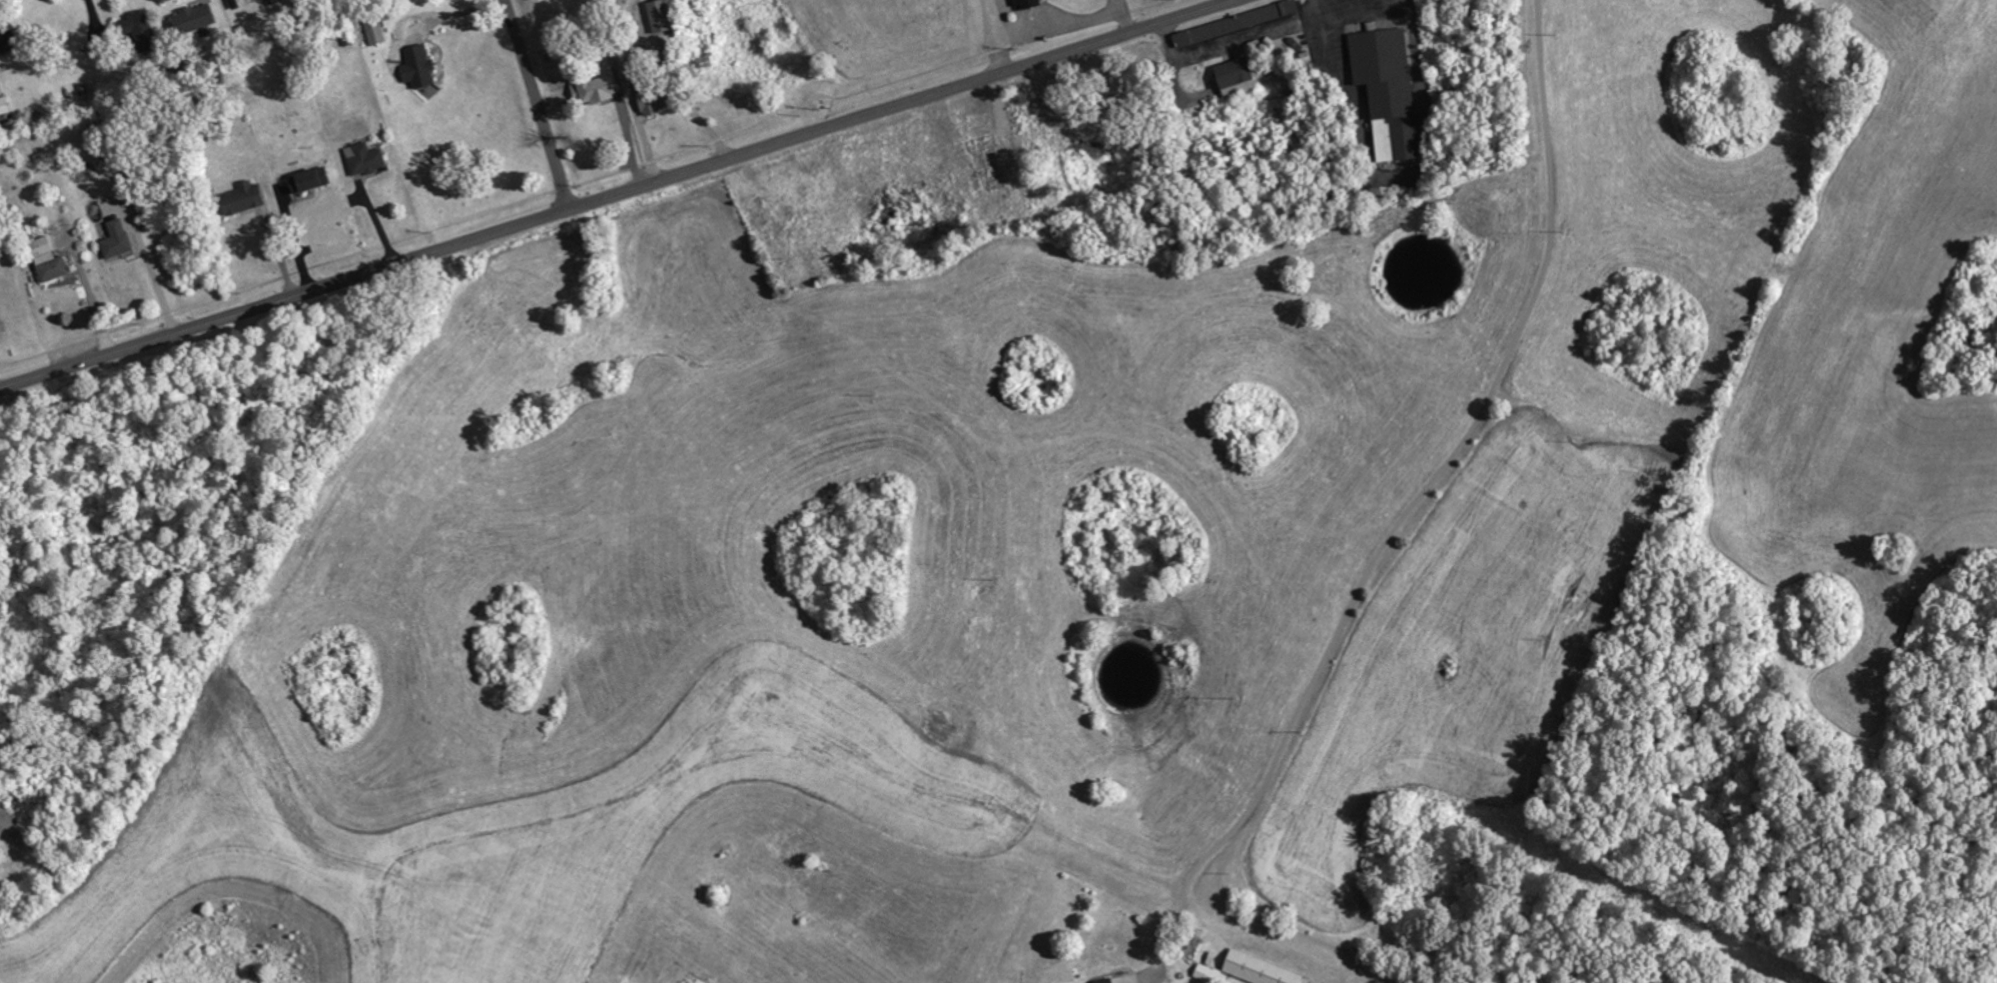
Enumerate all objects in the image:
building: (1028, 4)
road: (1059, 16)
road: (1366, 16)
building: (200, 17)
building: (665, 17)
road: (1122, 17)
building: (1239, 23)
building: (142, 30)
building: (377, 30)
road: (999, 35)
road: (1325, 40)
building: (10, 41)
building: (422, 67)
building: (1239, 78)
building: (603, 89)
building: (1391, 92)
building: (658, 94)
road: (538, 104)
building: (5, 106)
building: (368, 159)
building: (313, 181)
road: (618, 194)
building: (246, 198)
building: (119, 240)
building: (51, 260)
road: (152, 278)
road: (1418, 500)
building: (1251, 971)
building: (1109, 981)

